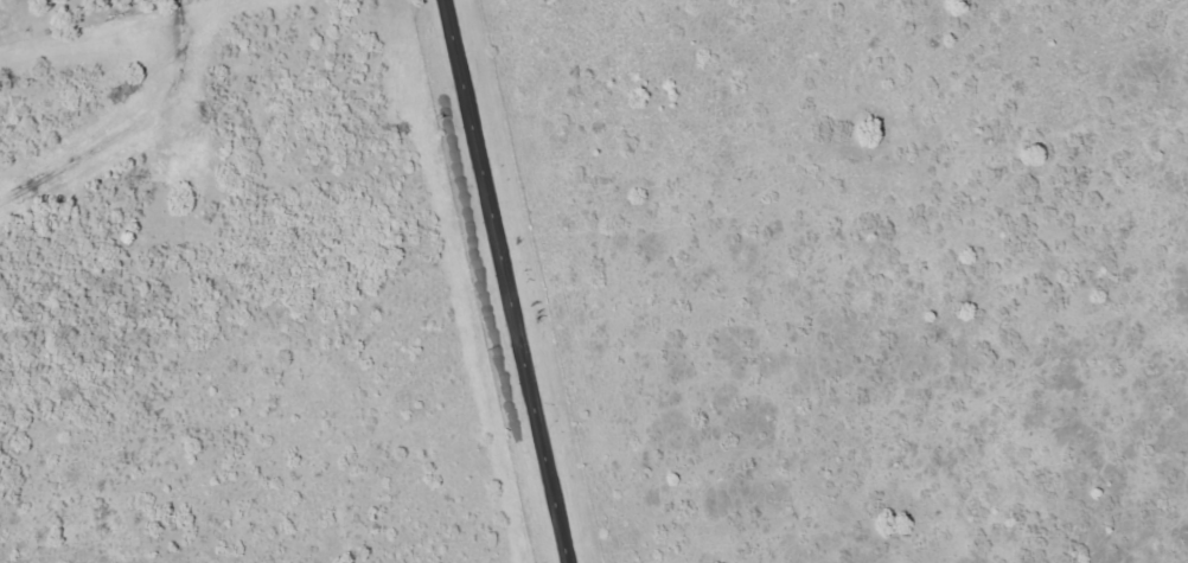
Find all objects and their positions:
road: (505, 281)

